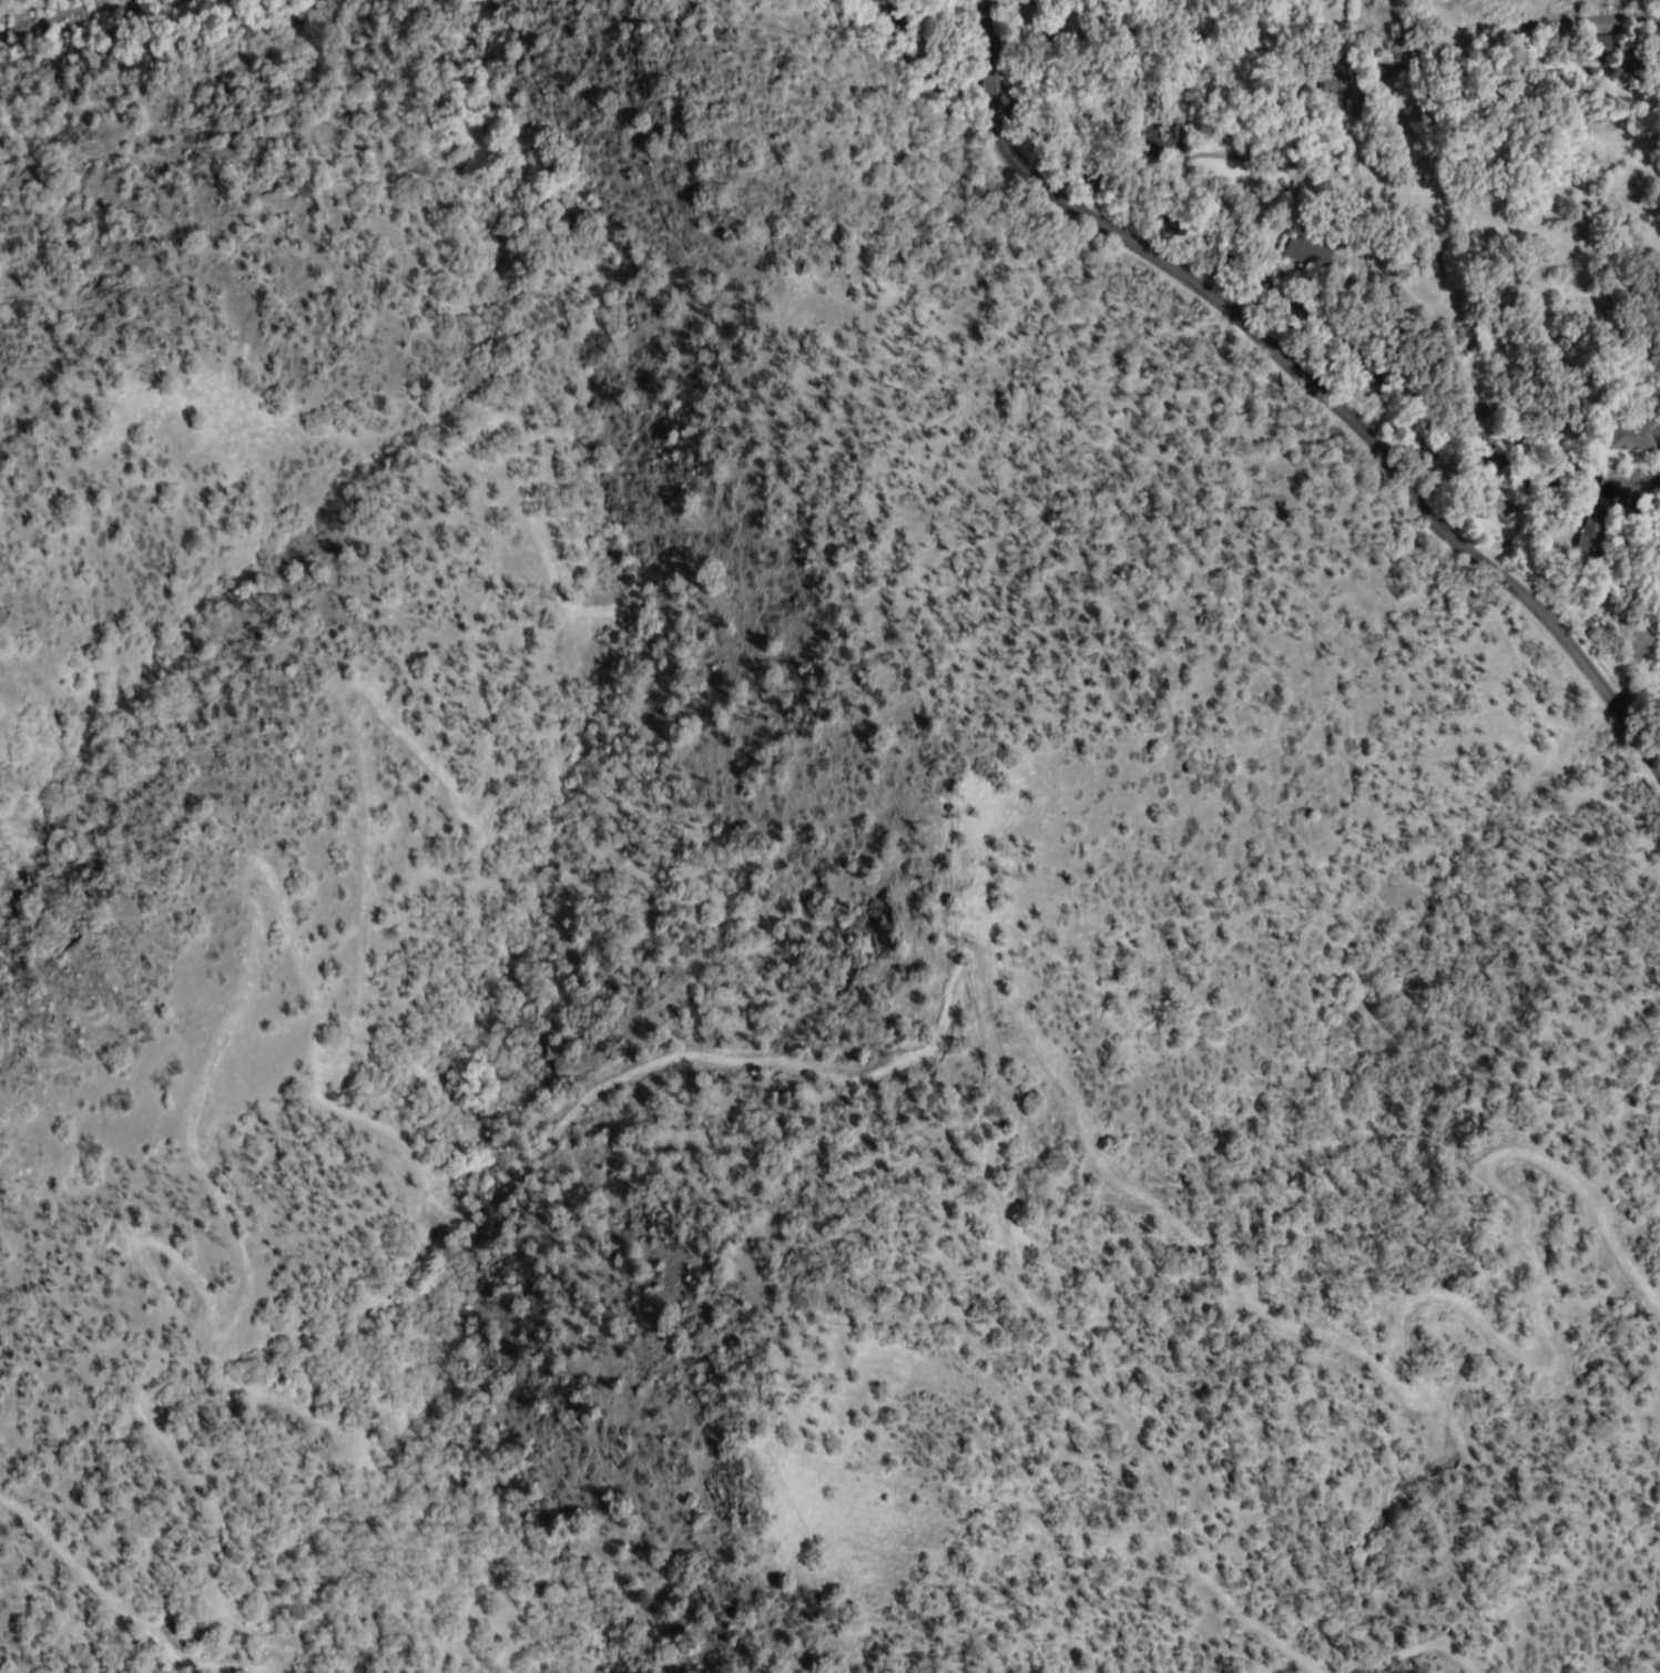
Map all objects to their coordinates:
river: (43, 8)
building: (1627, 68)
building: (1393, 108)
road: (1337, 116)
building: (1305, 254)
road: (1305, 379)

